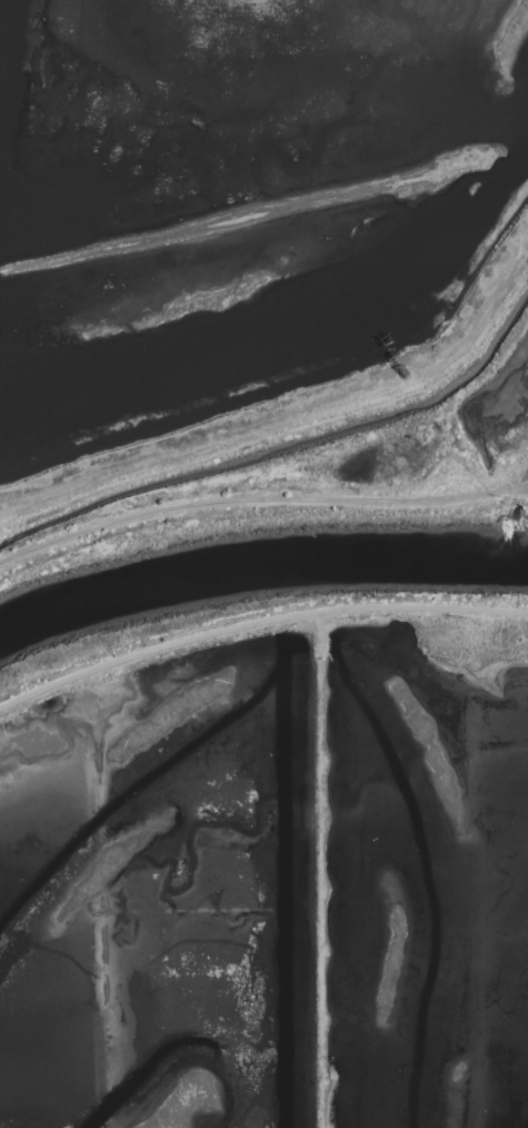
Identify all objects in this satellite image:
road: (257, 624)

